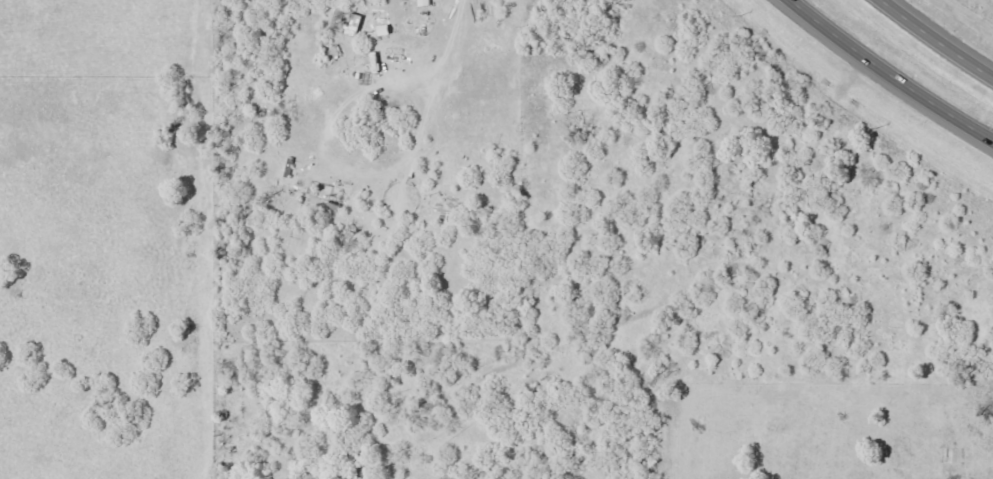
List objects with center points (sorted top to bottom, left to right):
building: (423, 3)
building: (351, 26)
road: (941, 40)
road: (887, 76)
road: (782, 244)
road: (546, 334)

